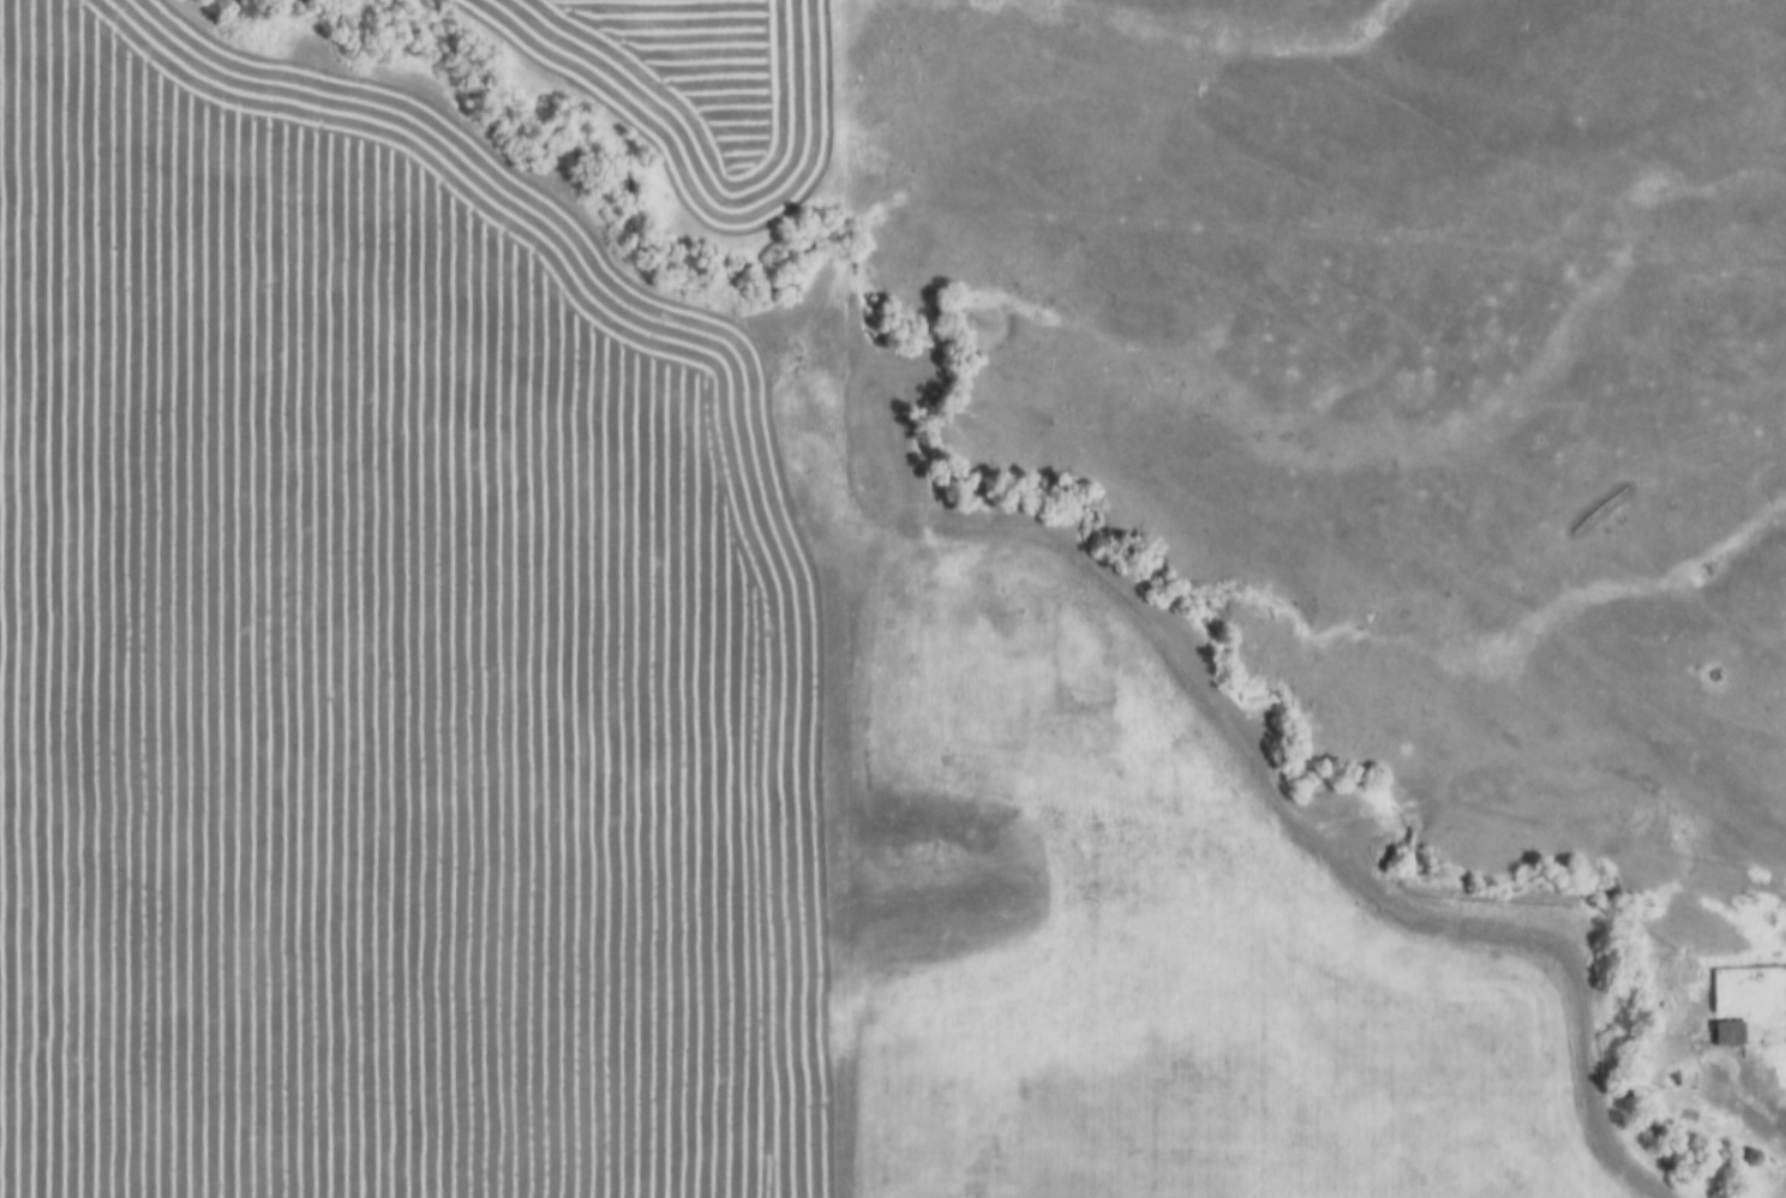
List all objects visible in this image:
building: (1730, 1034)
building: (1752, 1158)

